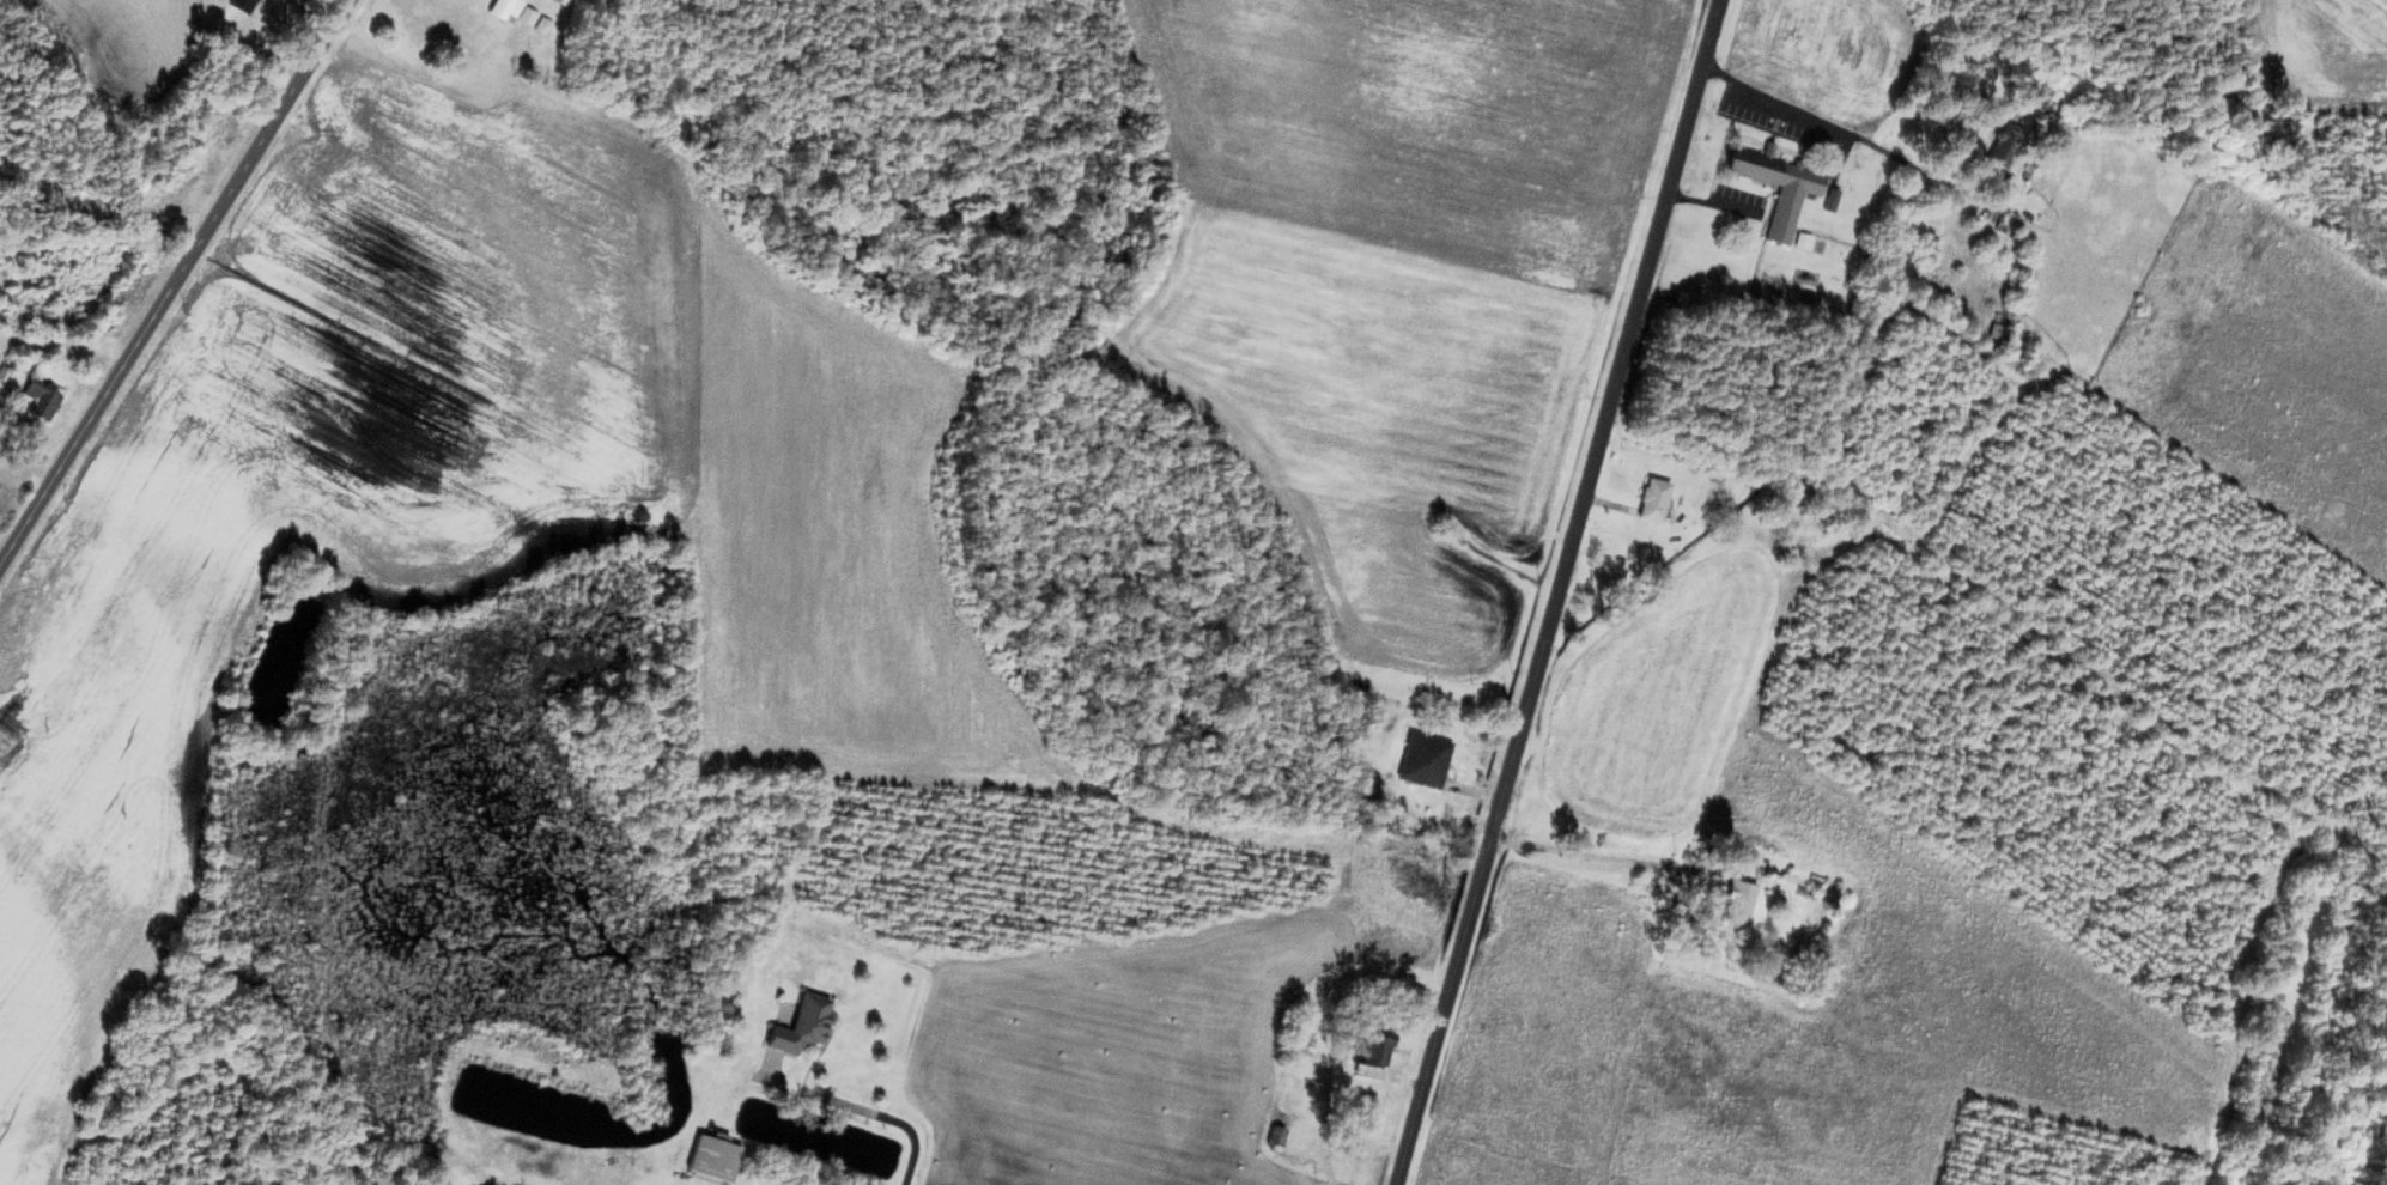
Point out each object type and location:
building: (505, 7)
building: (2014, 151)
building: (1785, 181)
building: (169, 201)
road: (174, 281)
building: (44, 399)
building: (1660, 499)
road: (1557, 591)
building: (1429, 760)
building: (1744, 900)
building: (808, 1025)
building: (1374, 1051)
building: (1283, 1132)
building: (718, 1157)

